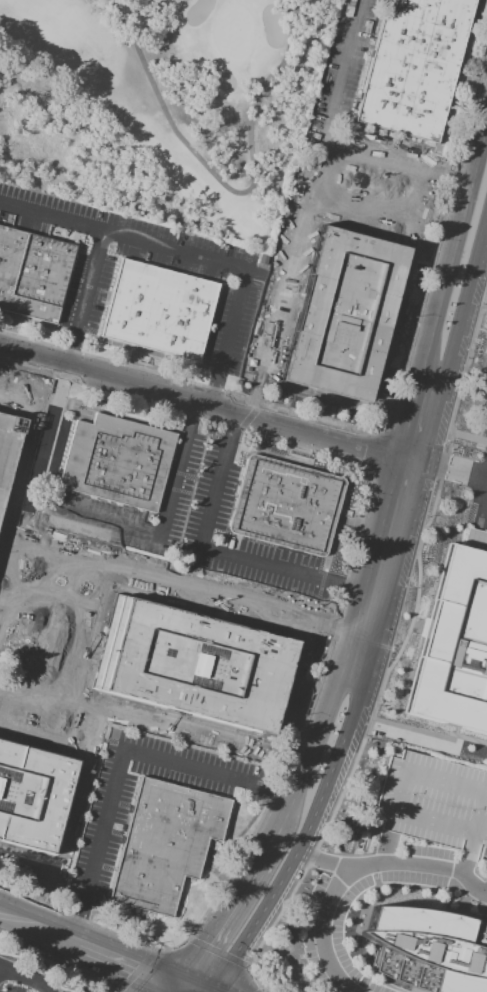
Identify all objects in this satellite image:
road: (419, 9)
road: (355, 11)
road: (449, 24)
road: (464, 54)
road: (391, 60)
building: (413, 66)
road: (380, 101)
park: (162, 106)
road: (368, 146)
road: (316, 172)
road: (228, 189)
road: (439, 232)
road: (191, 254)
building: (32, 274)
road: (458, 286)
building: (158, 310)
building: (345, 319)
road: (64, 366)
road: (205, 402)
building: (486, 424)
road: (418, 425)
road: (419, 427)
building: (486, 429)
building: (8, 447)
road: (375, 450)
building: (117, 463)
road: (461, 472)
road: (403, 487)
building: (285, 505)
road: (162, 535)
road: (220, 551)
road: (14, 554)
road: (78, 577)
building: (64, 590)
road: (224, 596)
road: (364, 639)
building: (454, 647)
building: (193, 665)
road: (310, 689)
road: (121, 752)
road: (449, 782)
building: (32, 793)
road: (311, 796)
building: (435, 803)
parking lot: (435, 803)
road: (435, 821)
building: (165, 844)
road: (385, 851)
road: (321, 861)
road: (426, 866)
road: (464, 869)
road: (246, 915)
road: (77, 917)
road: (322, 928)
road: (38, 930)
building: (428, 948)
road: (219, 952)
road: (55, 967)
road: (130, 969)
road: (134, 970)
road: (24, 979)
road: (257, 981)
road: (259, 991)

